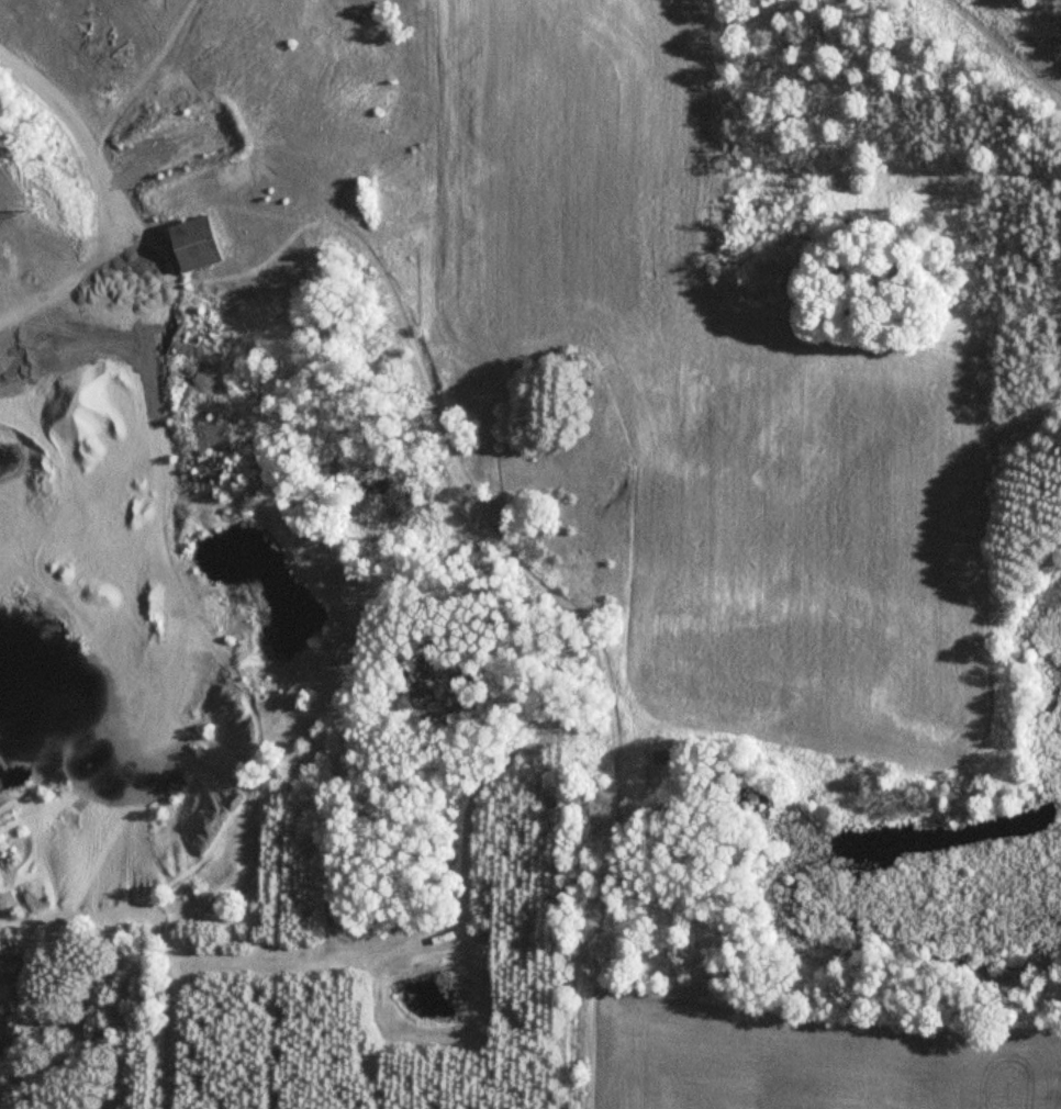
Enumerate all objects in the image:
road: (102, 168)
building: (194, 243)
quarry: (152, 612)

